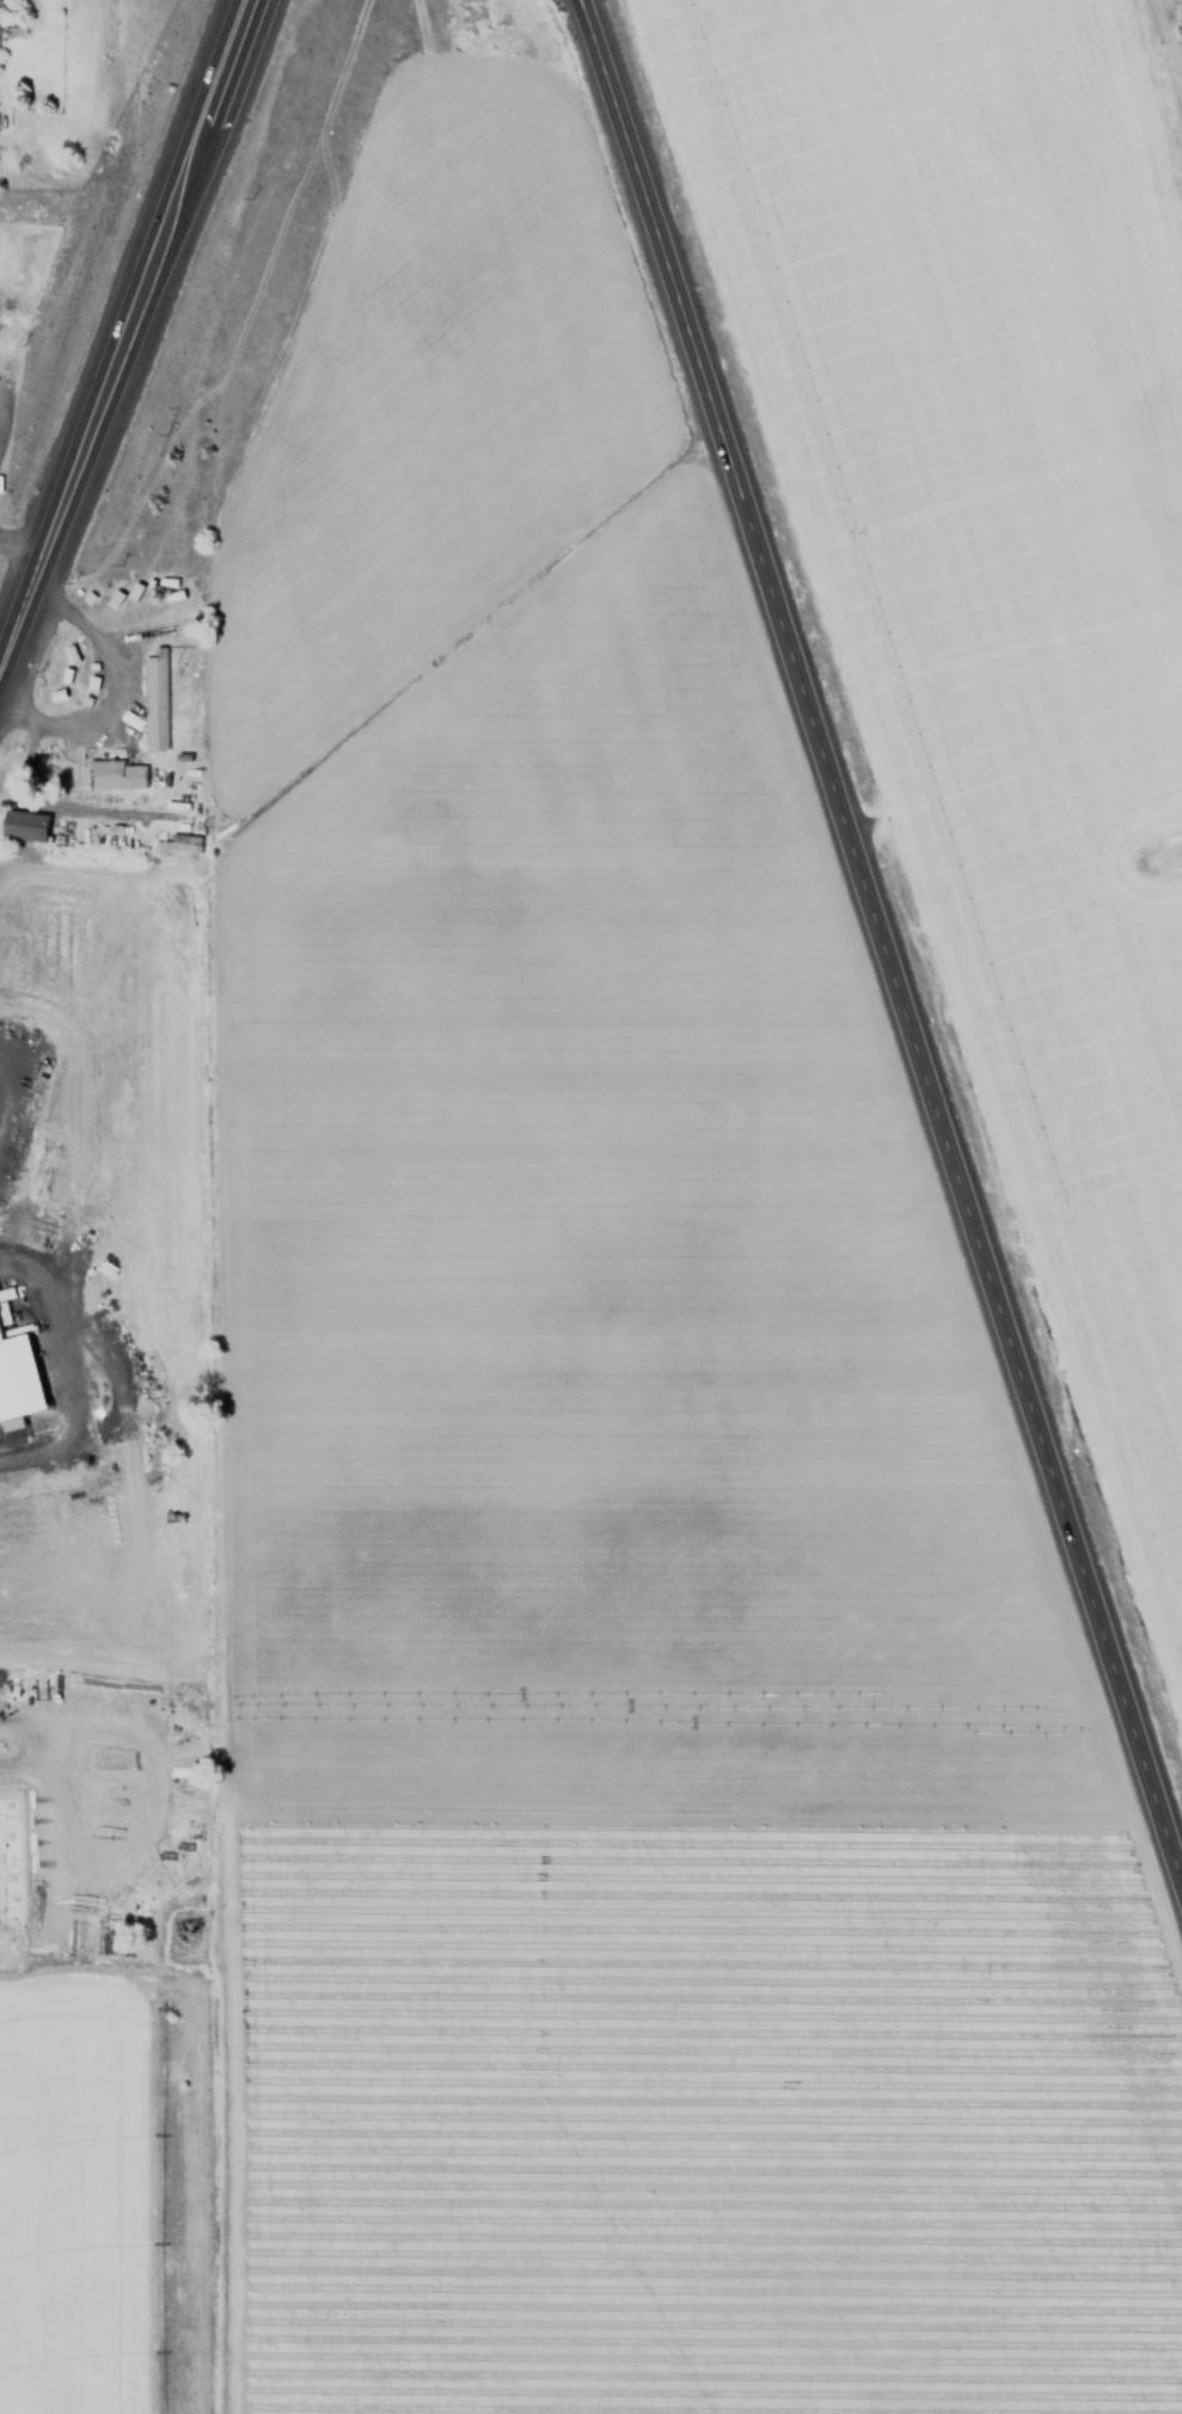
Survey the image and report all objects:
road: (123, 331)
road: (22, 546)
building: (71, 652)
building: (153, 698)
building: (116, 773)
building: (24, 825)
building: (177, 843)
road: (878, 943)
road: (79, 1364)
building: (17, 1365)
crop: (410, 2222)

